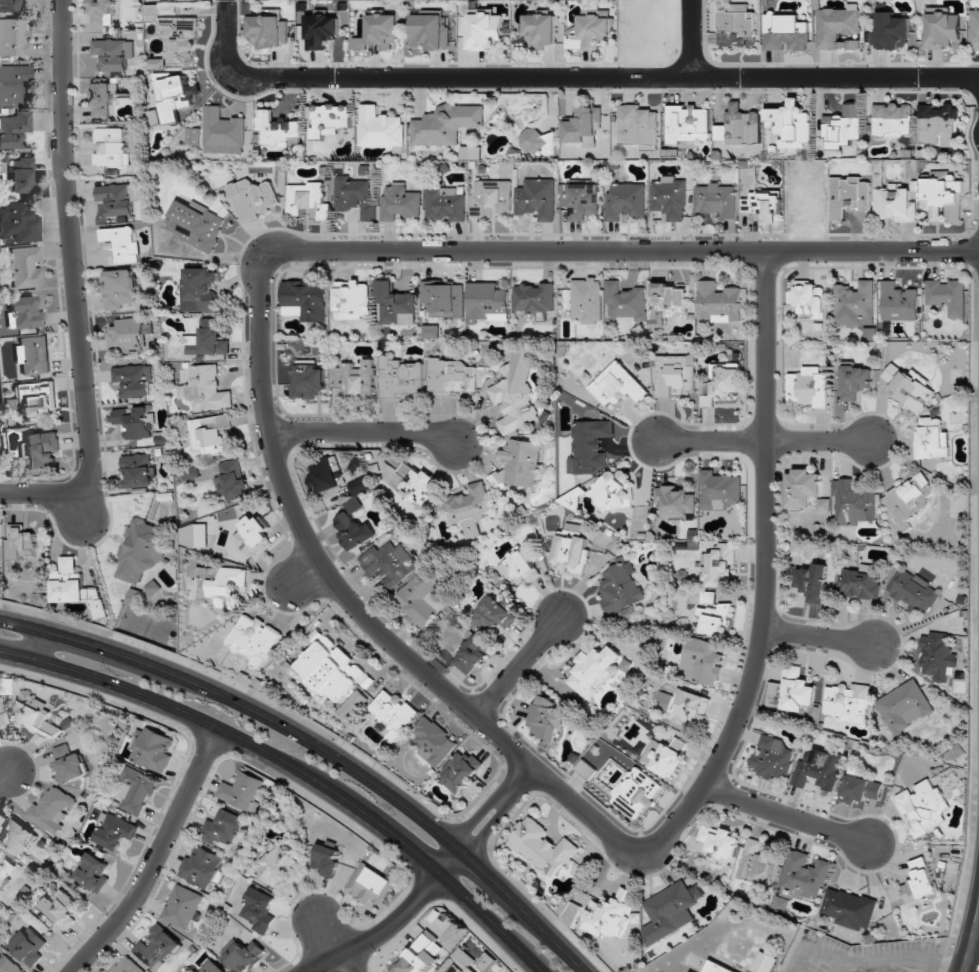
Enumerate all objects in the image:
building: (9, 6)
building: (102, 12)
building: (737, 26)
building: (541, 28)
building: (837, 28)
building: (974, 30)
building: (321, 31)
building: (483, 31)
building: (890, 31)
building: (942, 31)
building: (268, 32)
building: (430, 32)
building: (589, 32)
building: (379, 33)
building: (785, 33)
building: (178, 37)
building: (13, 38)
road: (691, 38)
building: (113, 53)
building: (157, 63)
road: (570, 77)
building: (13, 83)
building: (172, 96)
building: (103, 99)
building: (328, 119)
building: (892, 120)
building: (937, 123)
building: (446, 124)
building: (688, 124)
building: (791, 124)
building: (583, 126)
building: (638, 126)
building: (740, 126)
building: (843, 126)
building: (380, 128)
building: (14, 129)
building: (276, 129)
building: (222, 132)
building: (192, 136)
building: (539, 143)
building: (111, 148)
building: (470, 153)
building: (21, 176)
building: (491, 196)
building: (849, 196)
building: (355, 197)
building: (253, 198)
building: (669, 198)
building: (115, 199)
building: (307, 199)
building: (536, 199)
building: (942, 199)
building: (717, 200)
building: (581, 201)
building: (625, 201)
building: (400, 202)
building: (894, 203)
building: (445, 204)
building: (763, 205)
building: (18, 223)
building: (195, 224)
building: (121, 245)
road: (634, 252)
building: (25, 267)
road: (76, 288)
building: (201, 288)
building: (120, 289)
building: (948, 296)
building: (534, 297)
building: (305, 300)
building: (352, 300)
building: (444, 300)
building: (586, 300)
building: (809, 300)
building: (487, 302)
building: (624, 302)
building: (668, 302)
building: (719, 302)
building: (898, 302)
building: (855, 304)
building: (396, 305)
building: (25, 313)
building: (431, 332)
building: (125, 335)
building: (207, 339)
building: (33, 354)
building: (674, 375)
building: (452, 376)
building: (399, 377)
building: (354, 379)
building: (133, 380)
building: (309, 380)
building: (854, 381)
building: (726, 384)
building: (617, 385)
building: (808, 387)
building: (908, 388)
building: (207, 389)
building: (515, 396)
building: (135, 422)
road: (364, 432)
building: (931, 439)
road: (766, 442)
building: (589, 445)
building: (41, 450)
building: (519, 464)
building: (138, 471)
building: (325, 474)
building: (233, 481)
building: (417, 484)
building: (360, 486)
building: (802, 488)
building: (720, 490)
building: (615, 491)
building: (908, 500)
building: (676, 501)
building: (853, 504)
building: (823, 505)
road: (81, 507)
building: (469, 507)
building: (354, 531)
building: (253, 536)
building: (21, 542)
building: (140, 550)
building: (570, 551)
building: (389, 563)
building: (719, 565)
building: (518, 567)
road: (301, 571)
building: (813, 582)
building: (860, 582)
building: (219, 585)
building: (75, 588)
building: (913, 591)
building: (143, 597)
building: (421, 600)
building: (493, 614)
building: (714, 619)
building: (316, 636)
road: (819, 638)
building: (253, 640)
road: (41, 646)
building: (472, 654)
building: (937, 657)
building: (702, 661)
road: (519, 665)
building: (333, 670)
building: (594, 670)
building: (791, 691)
building: (848, 702)
building: (351, 705)
building: (904, 706)
building: (684, 707)
building: (394, 714)
building: (35, 717)
building: (546, 718)
building: (0, 724)
building: (433, 741)
road: (321, 748)
building: (155, 749)
building: (955, 752)
building: (665, 756)
building: (772, 758)
building: (69, 764)
building: (817, 768)
road: (294, 770)
building: (460, 771)
road: (5, 777)
road: (522, 779)
building: (860, 789)
building: (136, 790)
building: (241, 791)
building: (635, 793)
building: (923, 806)
building: (52, 809)
road: (584, 811)
road: (787, 815)
road: (480, 816)
road: (492, 824)
building: (225, 829)
building: (113, 831)
building: (16, 836)
building: (719, 842)
building: (541, 847)
road: (156, 857)
building: (327, 860)
road: (451, 862)
building: (758, 863)
building: (276, 864)
building: (202, 868)
building: (6, 869)
building: (93, 872)
building: (804, 877)
building: (919, 881)
building: (369, 885)
building: (0, 903)
building: (181, 907)
building: (62, 908)
building: (849, 908)
building: (257, 910)
building: (668, 912)
building: (572, 913)
building: (609, 914)
road: (382, 934)
road: (333, 944)
road: (973, 944)
building: (29, 946)
building: (157, 948)
building: (243, 955)
building: (421, 956)
building: (487, 961)
building: (459, 962)
building: (764, 963)
building: (8, 964)
building: (127, 966)
building: (214, 968)
building: (717, 968)

